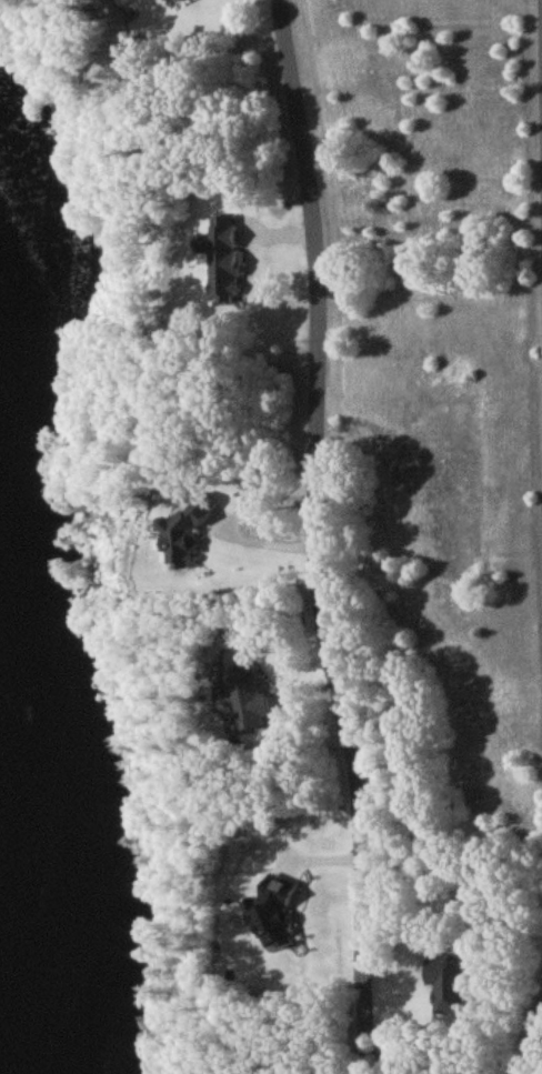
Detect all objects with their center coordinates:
road: (314, 536)
road: (534, 1052)

